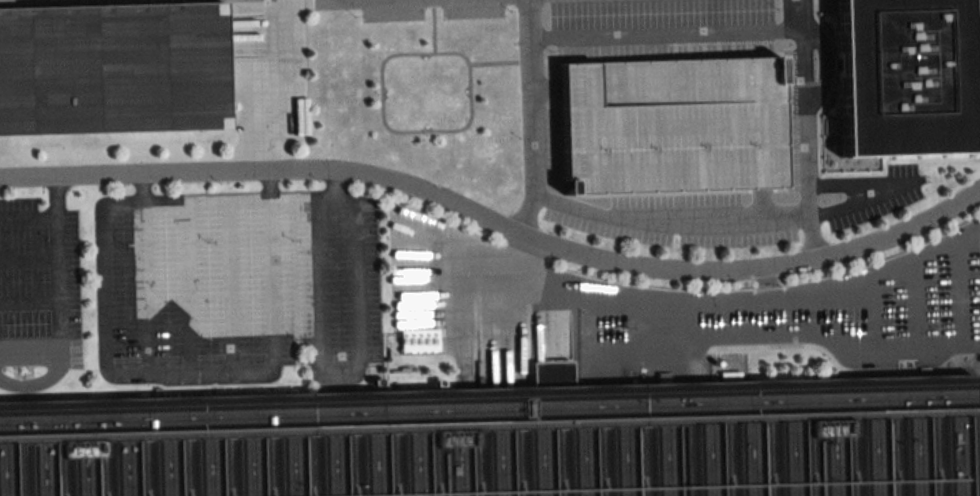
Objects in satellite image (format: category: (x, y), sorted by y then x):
road: (804, 15)
road: (531, 19)
road: (668, 34)
road: (453, 53)
building: (113, 67)
building: (903, 77)
road: (259, 84)
road: (806, 109)
road: (534, 116)
building: (672, 125)
parking garage: (672, 125)
road: (402, 132)
road: (332, 184)
road: (865, 184)
road: (270, 185)
road: (144, 189)
road: (57, 197)
road: (862, 204)
road: (809, 205)
road: (525, 216)
road: (496, 227)
road: (671, 227)
road: (814, 242)
road: (29, 259)
road: (316, 280)
road: (273, 281)
road: (766, 284)
road: (59, 285)
road: (233, 287)
parking lot: (239, 287)
road: (188, 288)
road: (148, 289)
road: (957, 293)
parking lot: (37, 295)
road: (731, 301)
road: (30, 304)
road: (912, 305)
road: (875, 312)
road: (667, 325)
road: (757, 336)
road: (353, 375)
road: (41, 382)
building: (507, 440)

